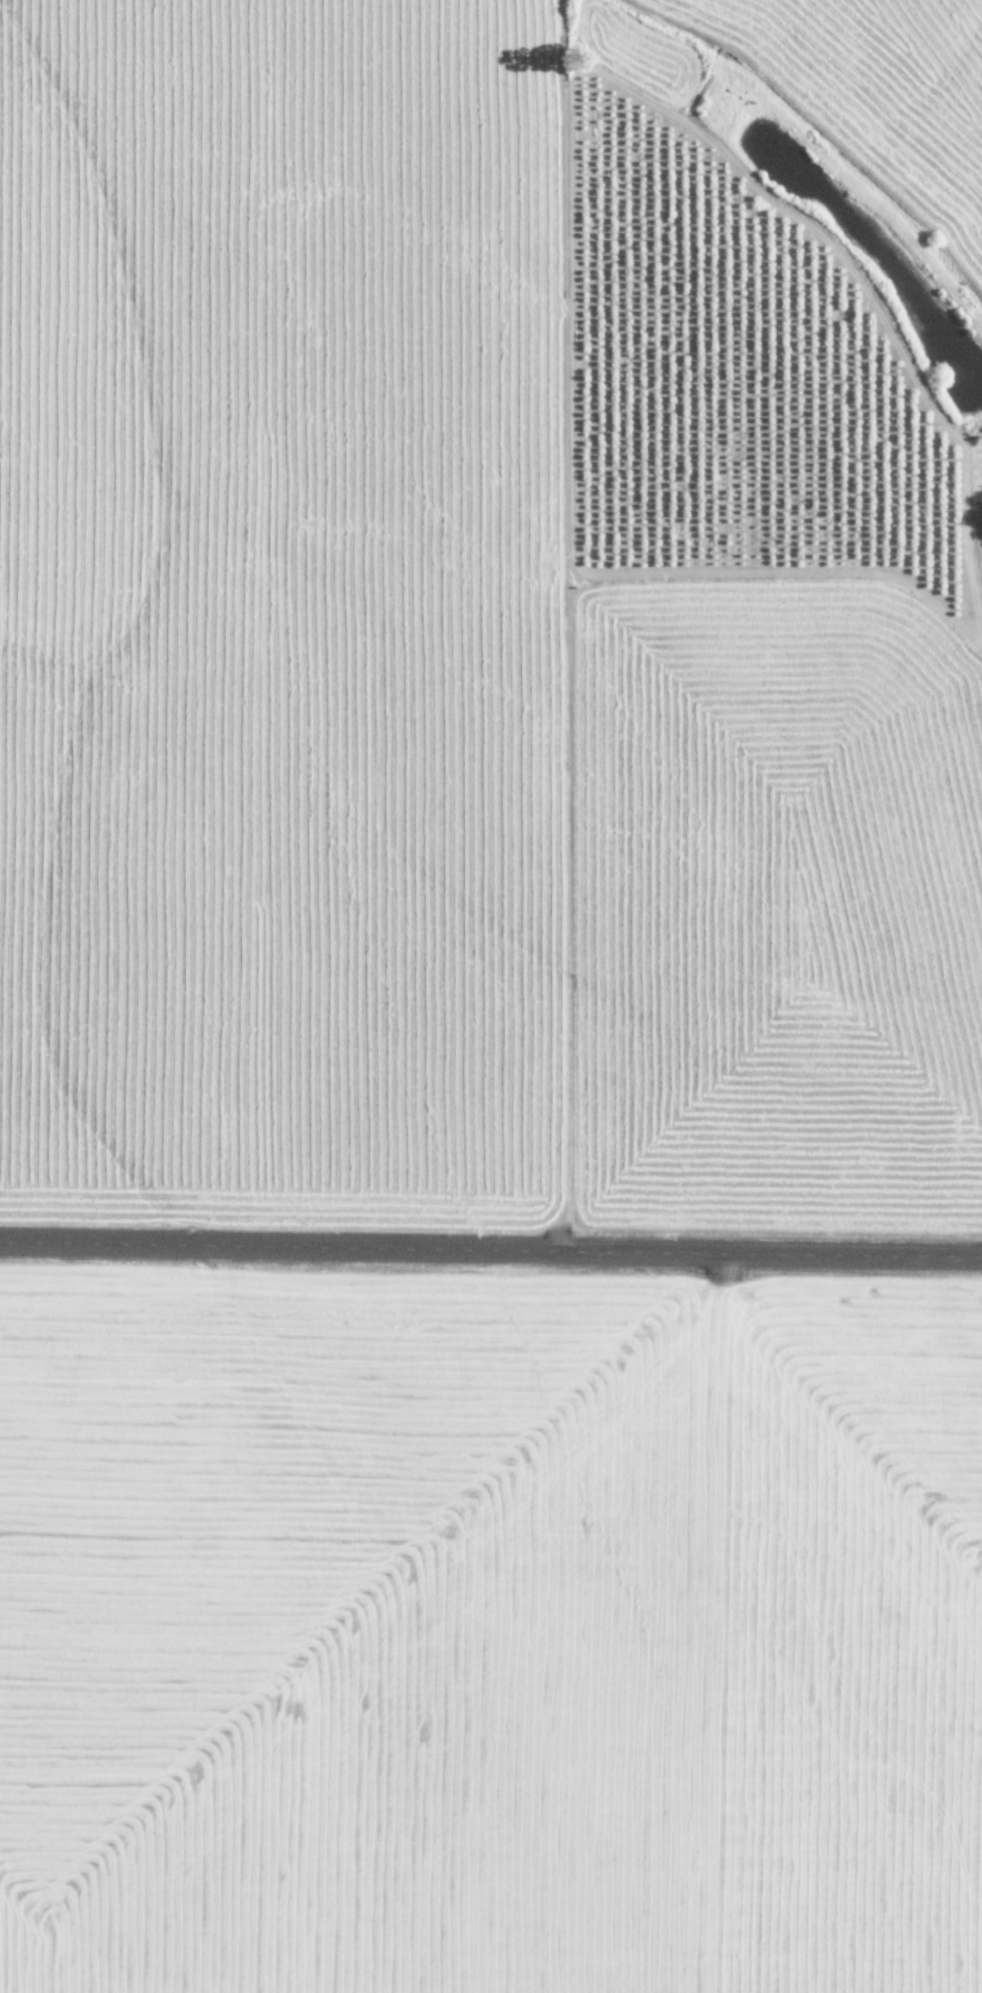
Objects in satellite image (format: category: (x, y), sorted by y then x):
crop: (492, 605)
road: (491, 1243)
crop: (490, 1640)

